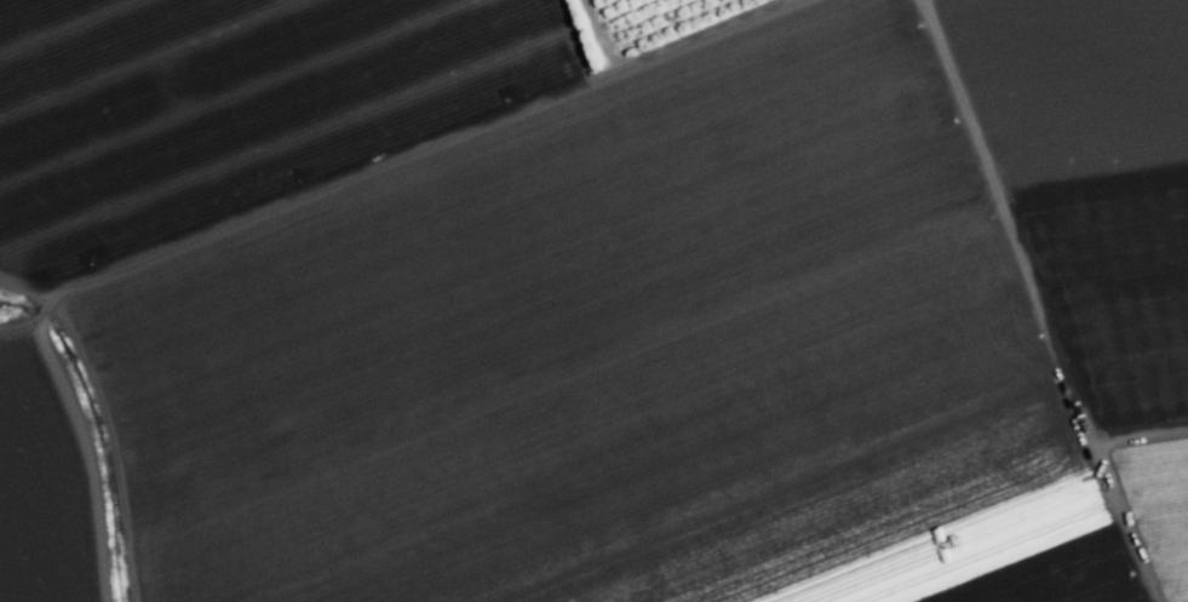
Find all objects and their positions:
crop: (593, 303)

